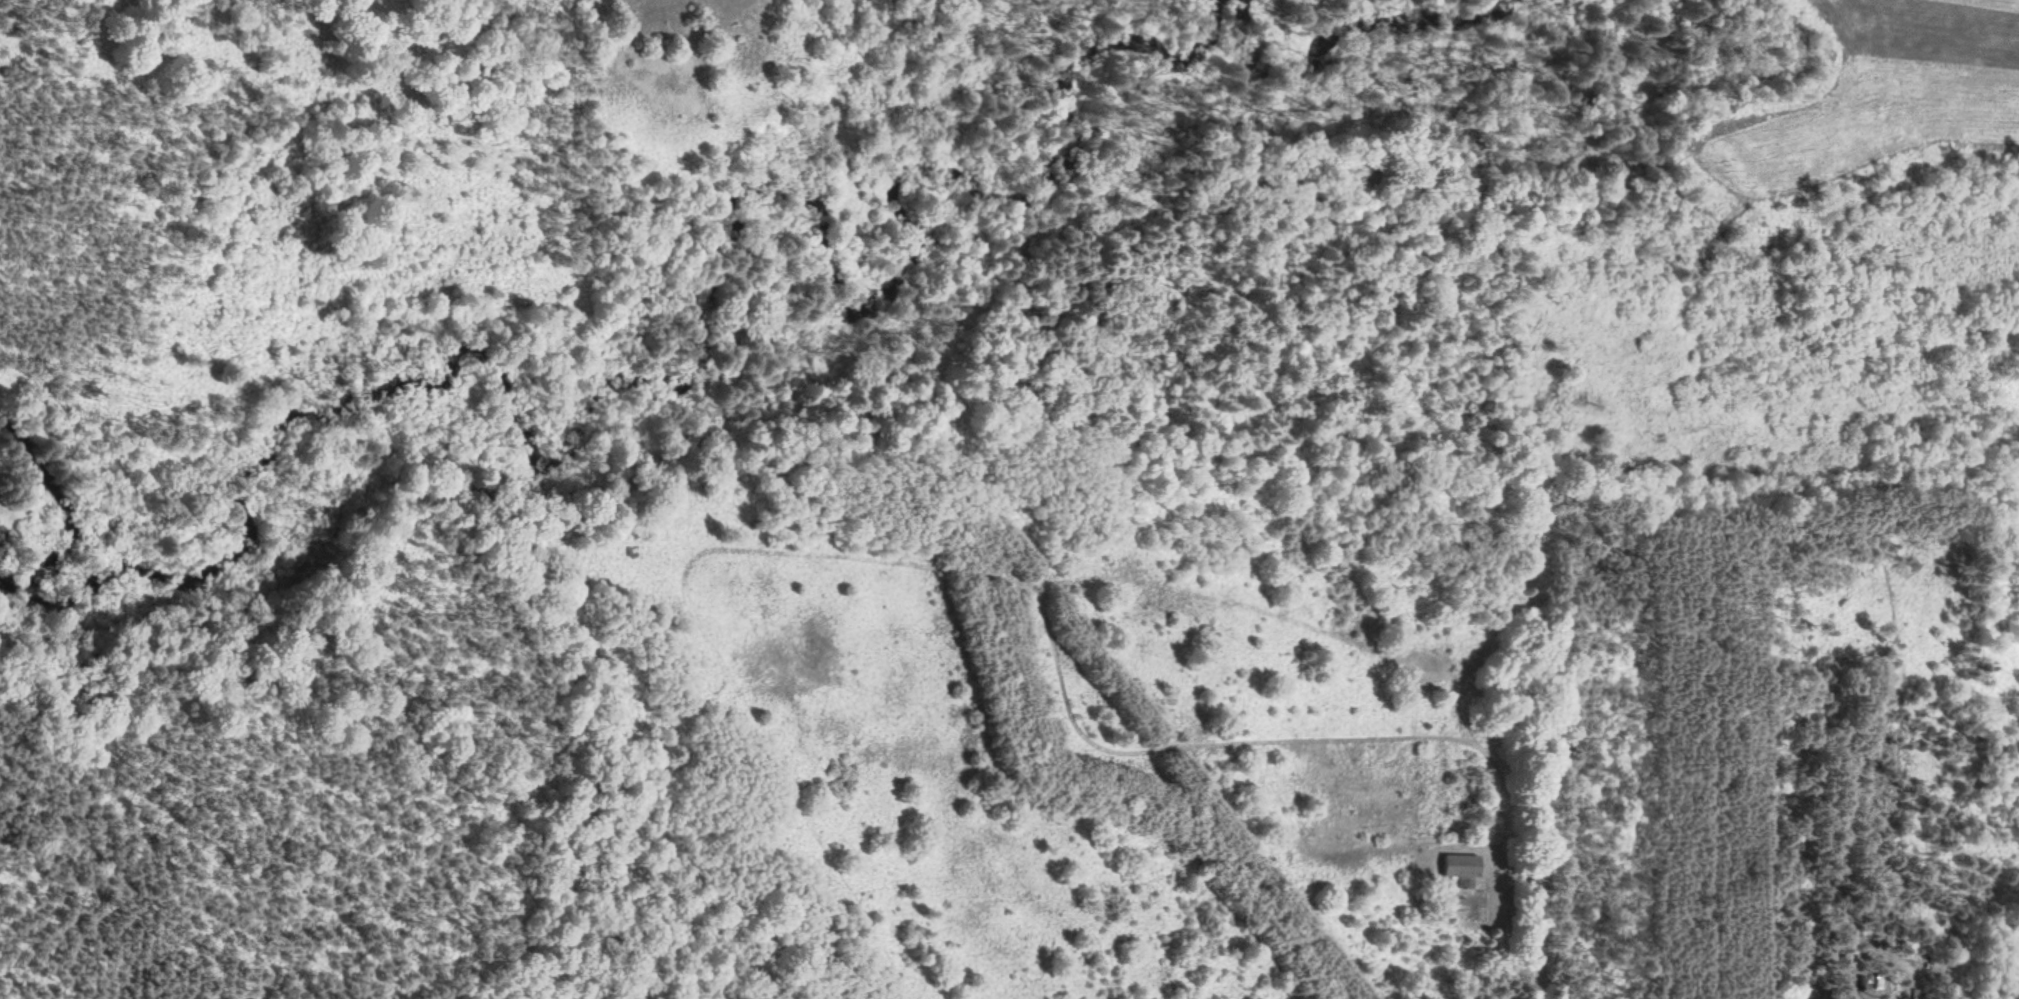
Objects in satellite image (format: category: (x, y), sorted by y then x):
building: (1461, 866)
road: (1531, 996)

